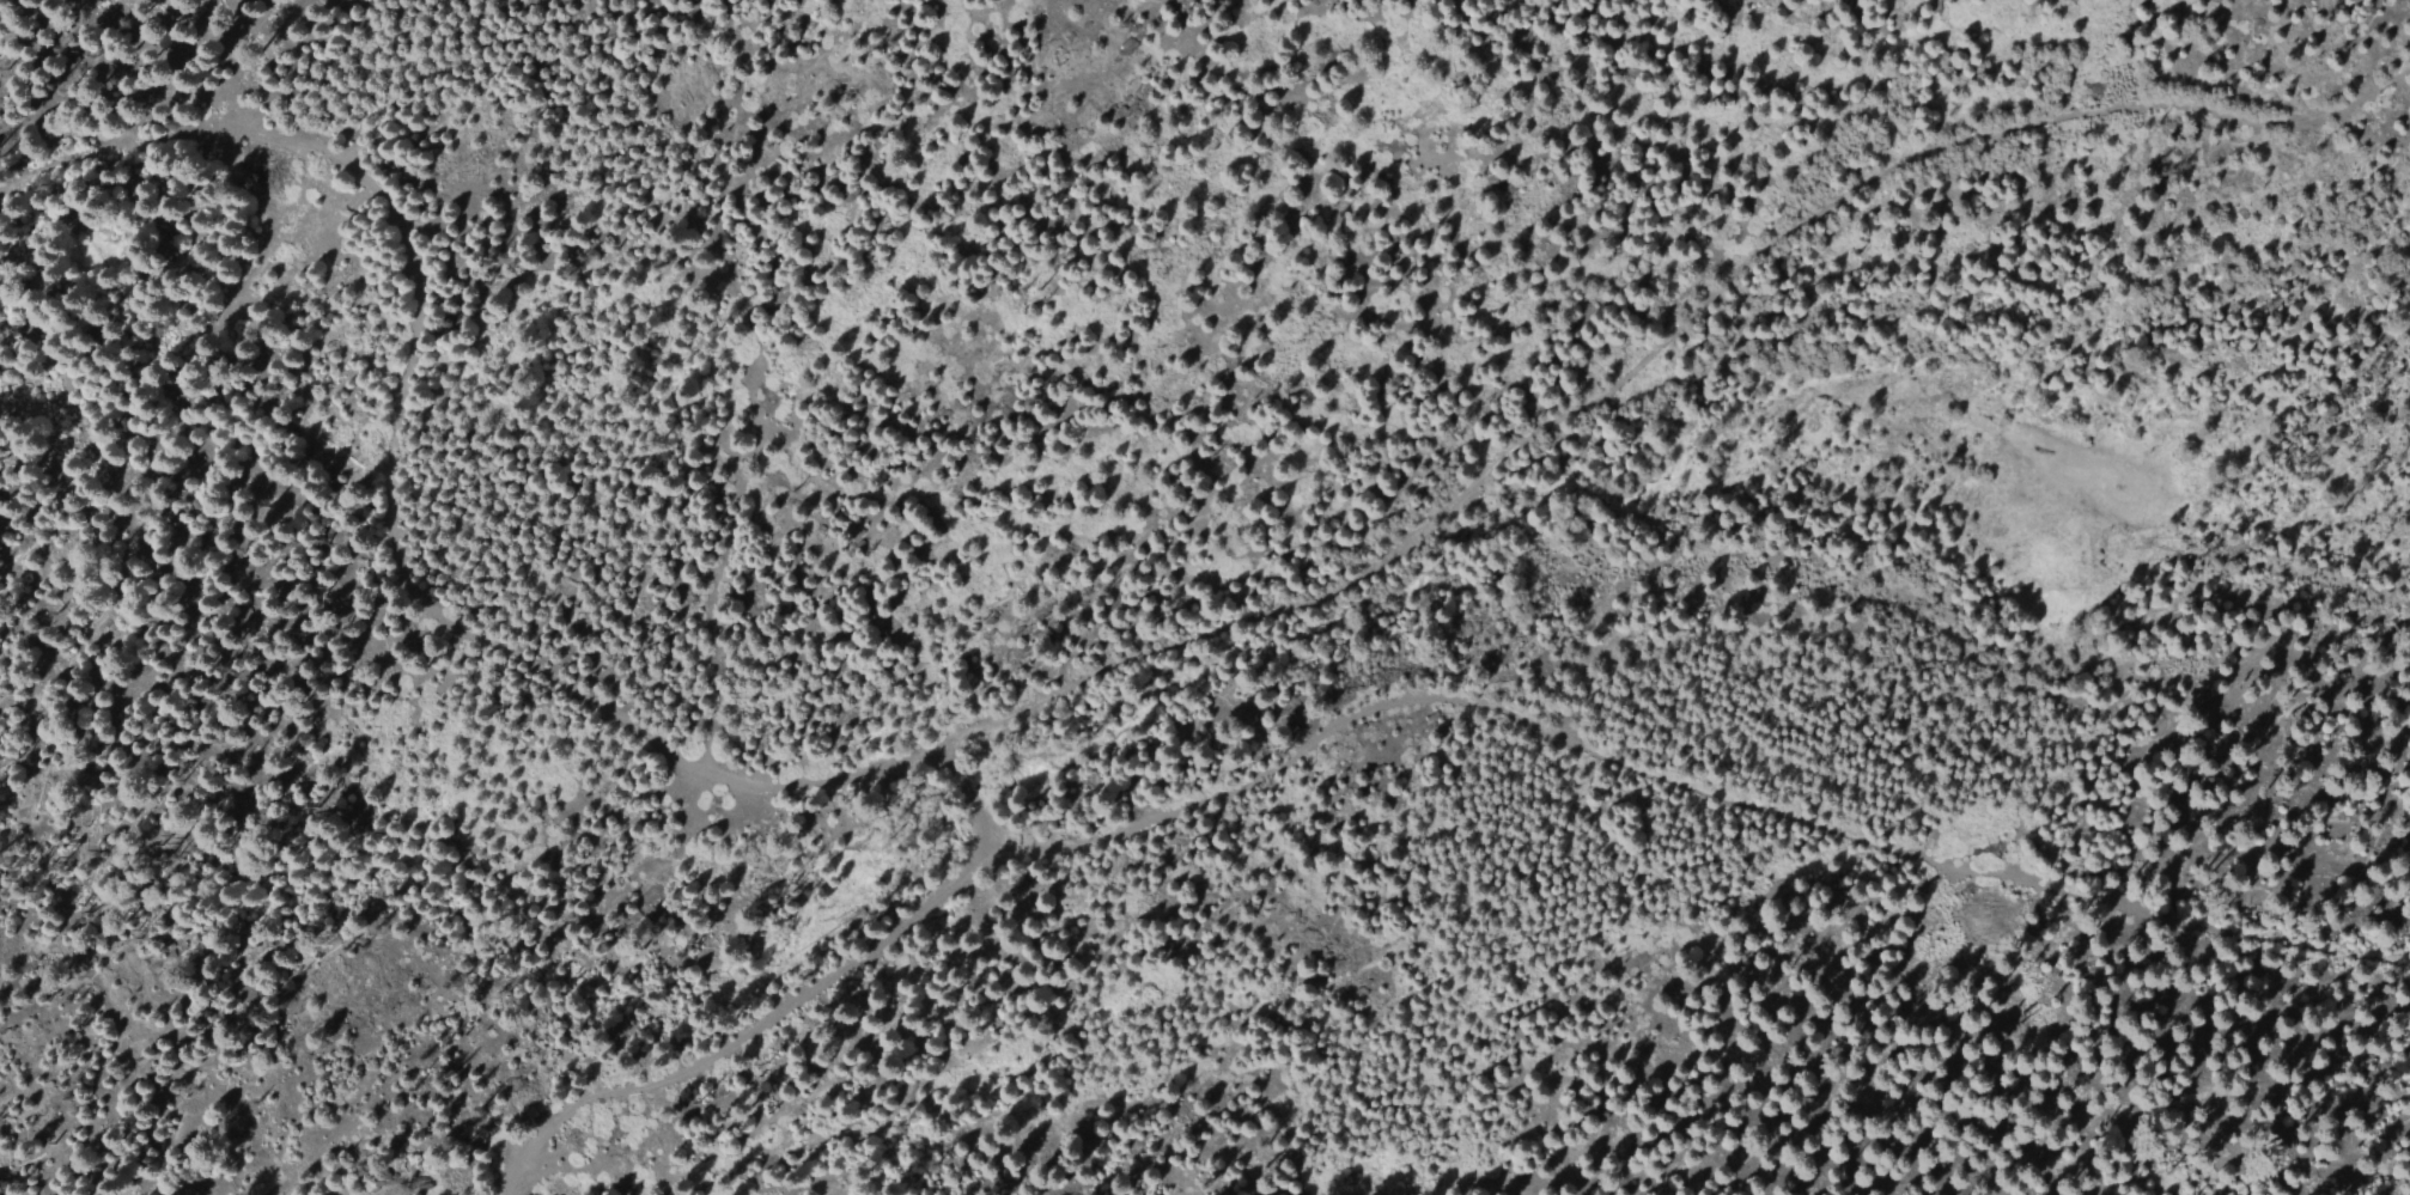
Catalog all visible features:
road: (1066, 699)

